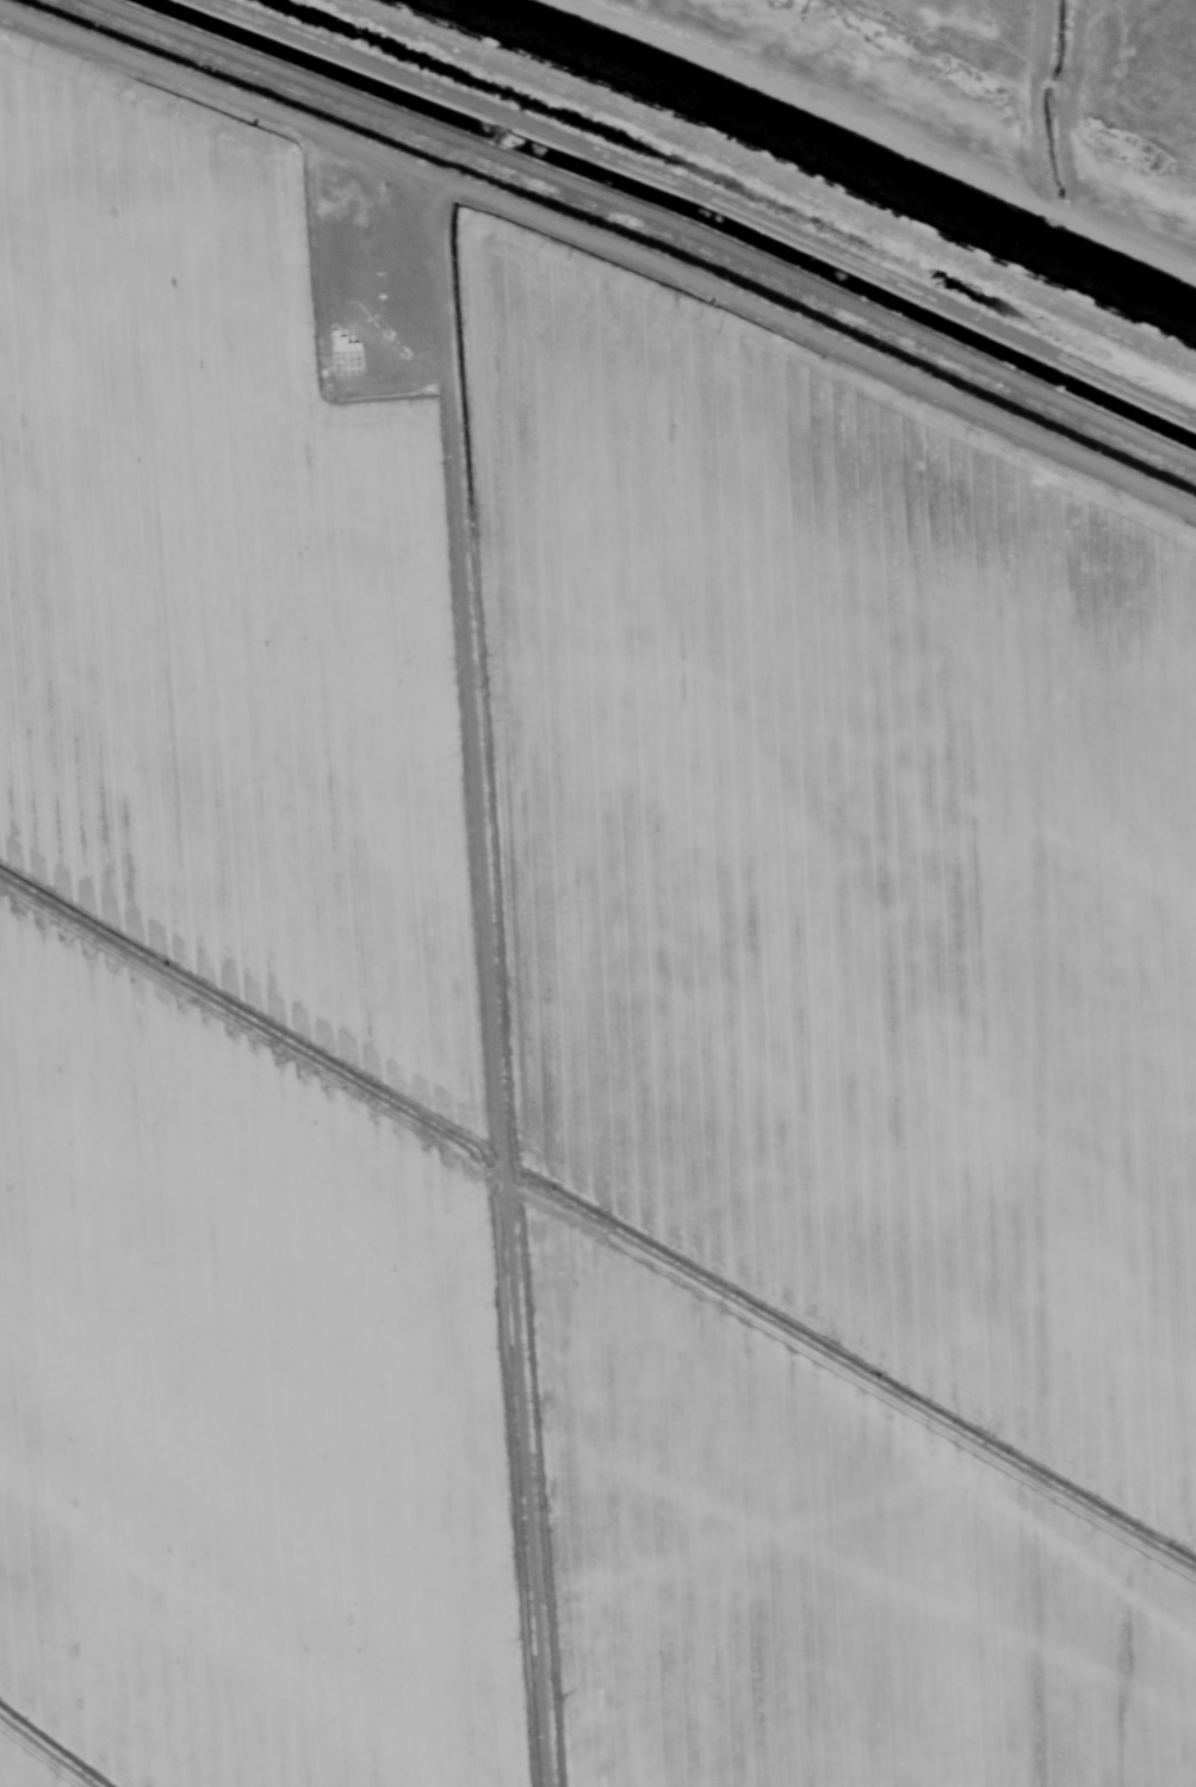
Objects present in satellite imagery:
road: (960, 107)
road: (671, 231)
road: (494, 967)
crop: (564, 1010)

